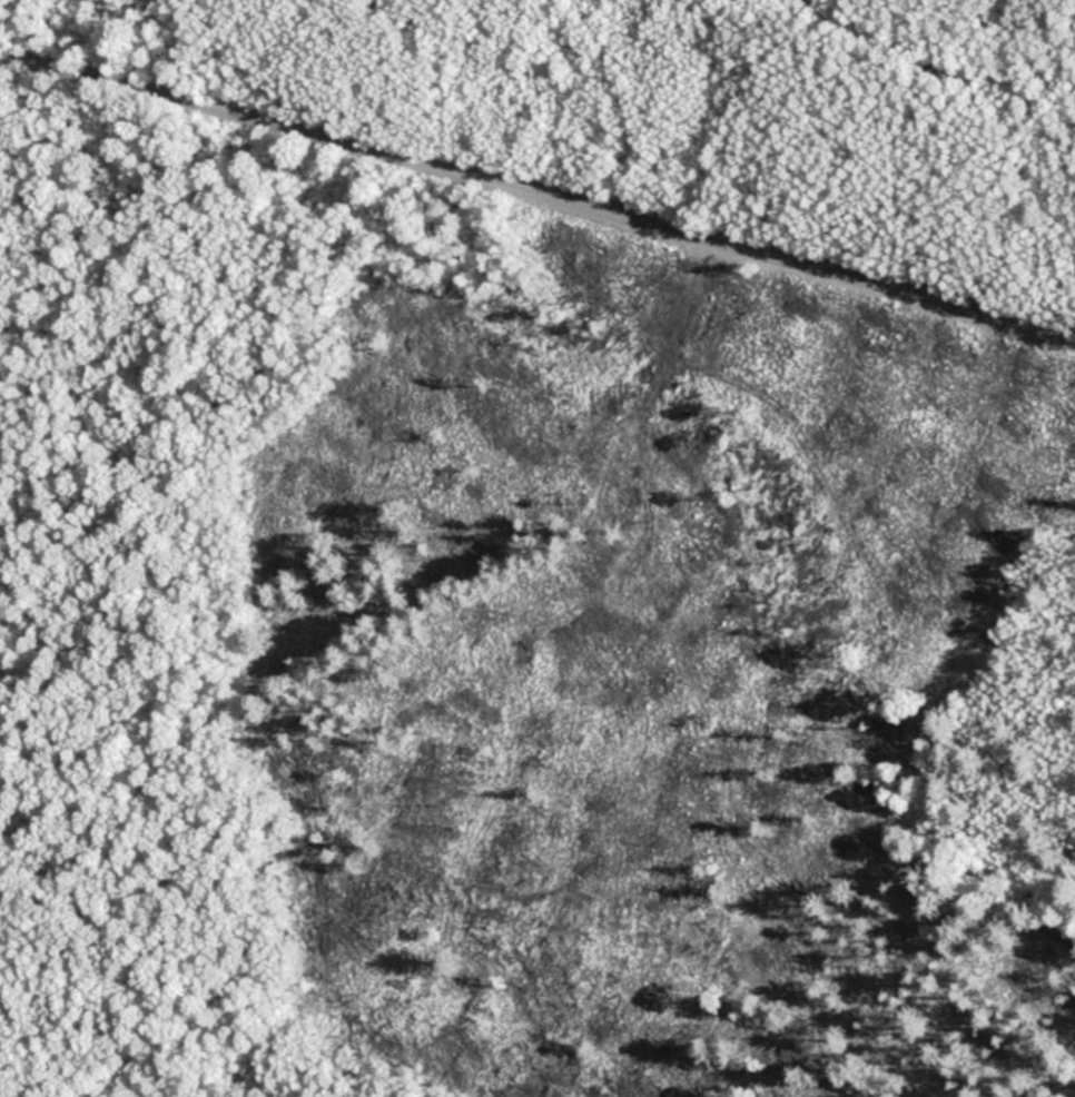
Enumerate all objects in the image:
road: (537, 194)
park: (537, 548)

